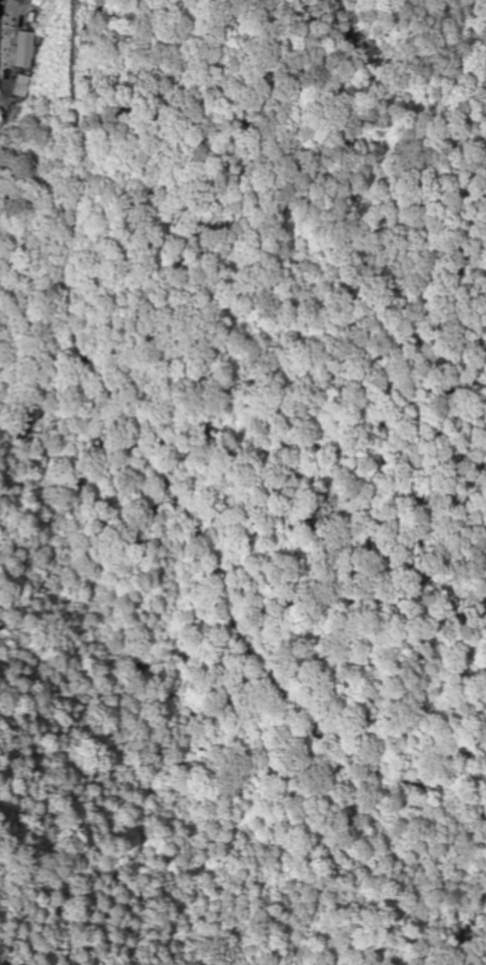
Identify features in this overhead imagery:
building: (23, 49)

